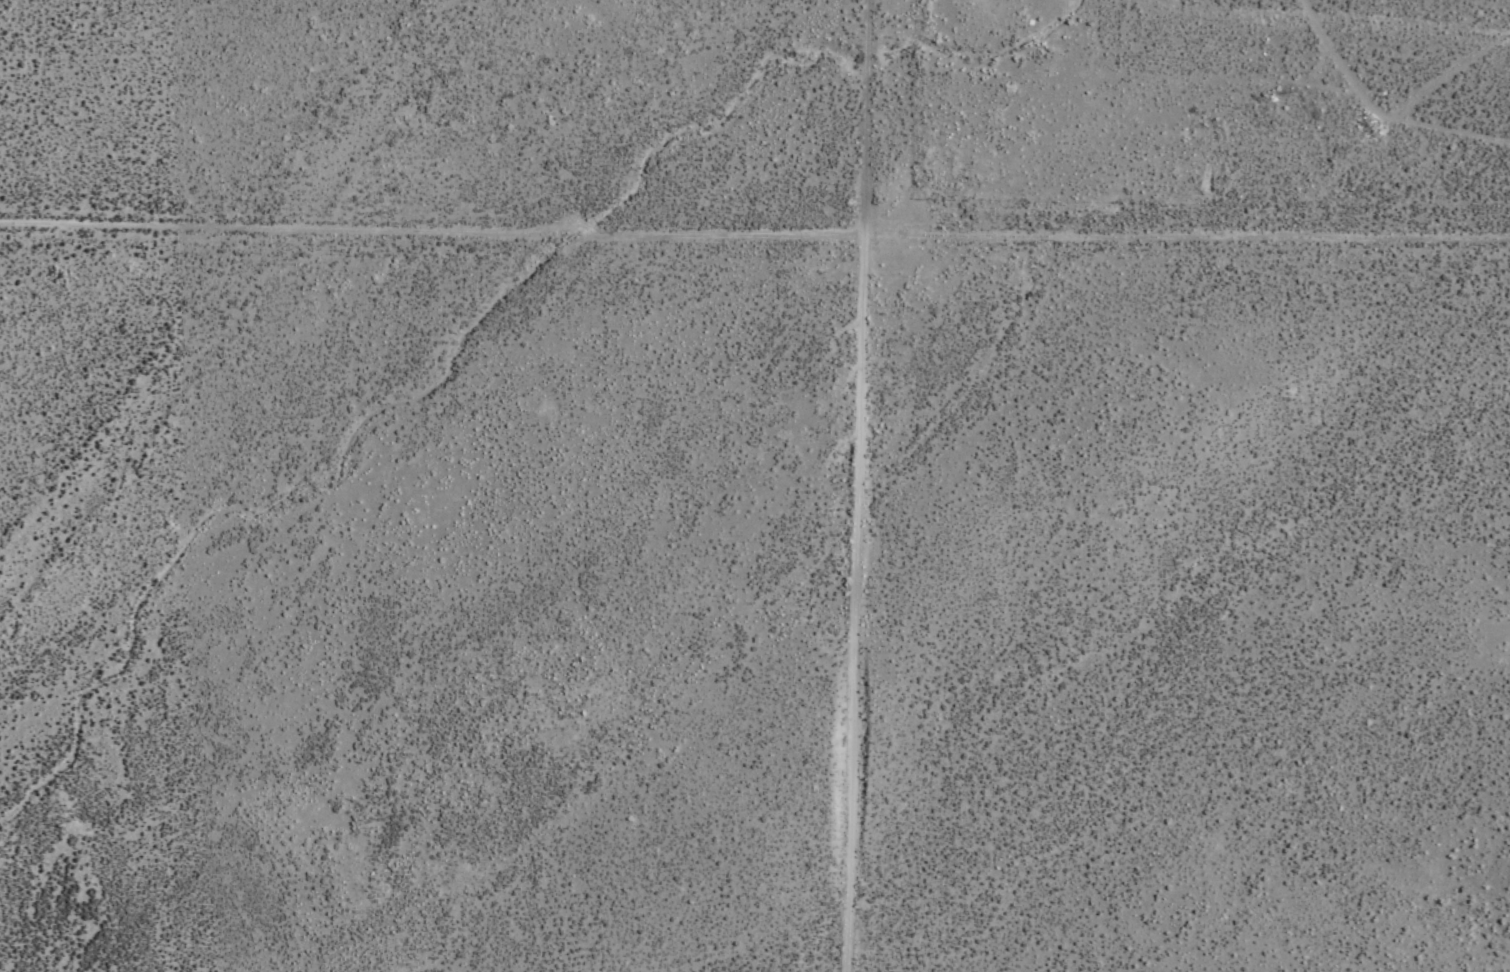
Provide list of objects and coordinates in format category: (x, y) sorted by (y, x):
road: (754, 231)
crop: (135, 487)

